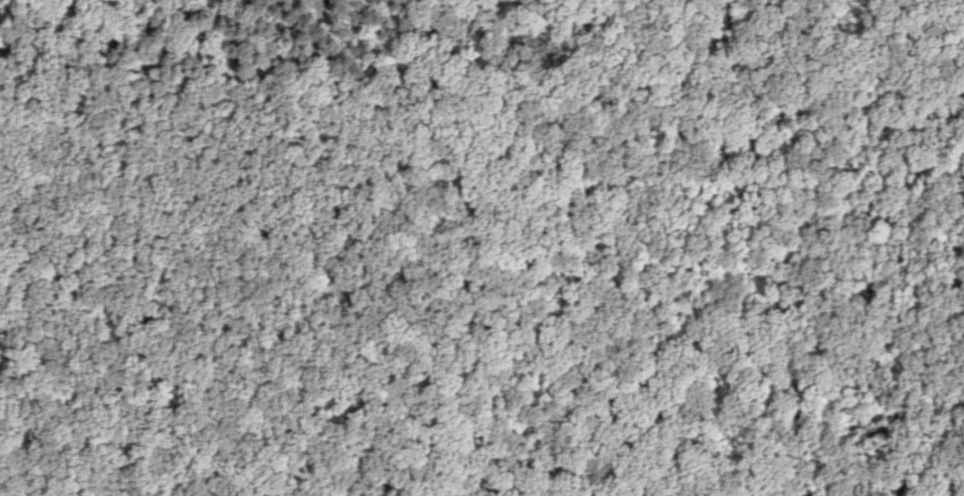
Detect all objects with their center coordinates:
road: (311, 204)
park: (491, 256)

